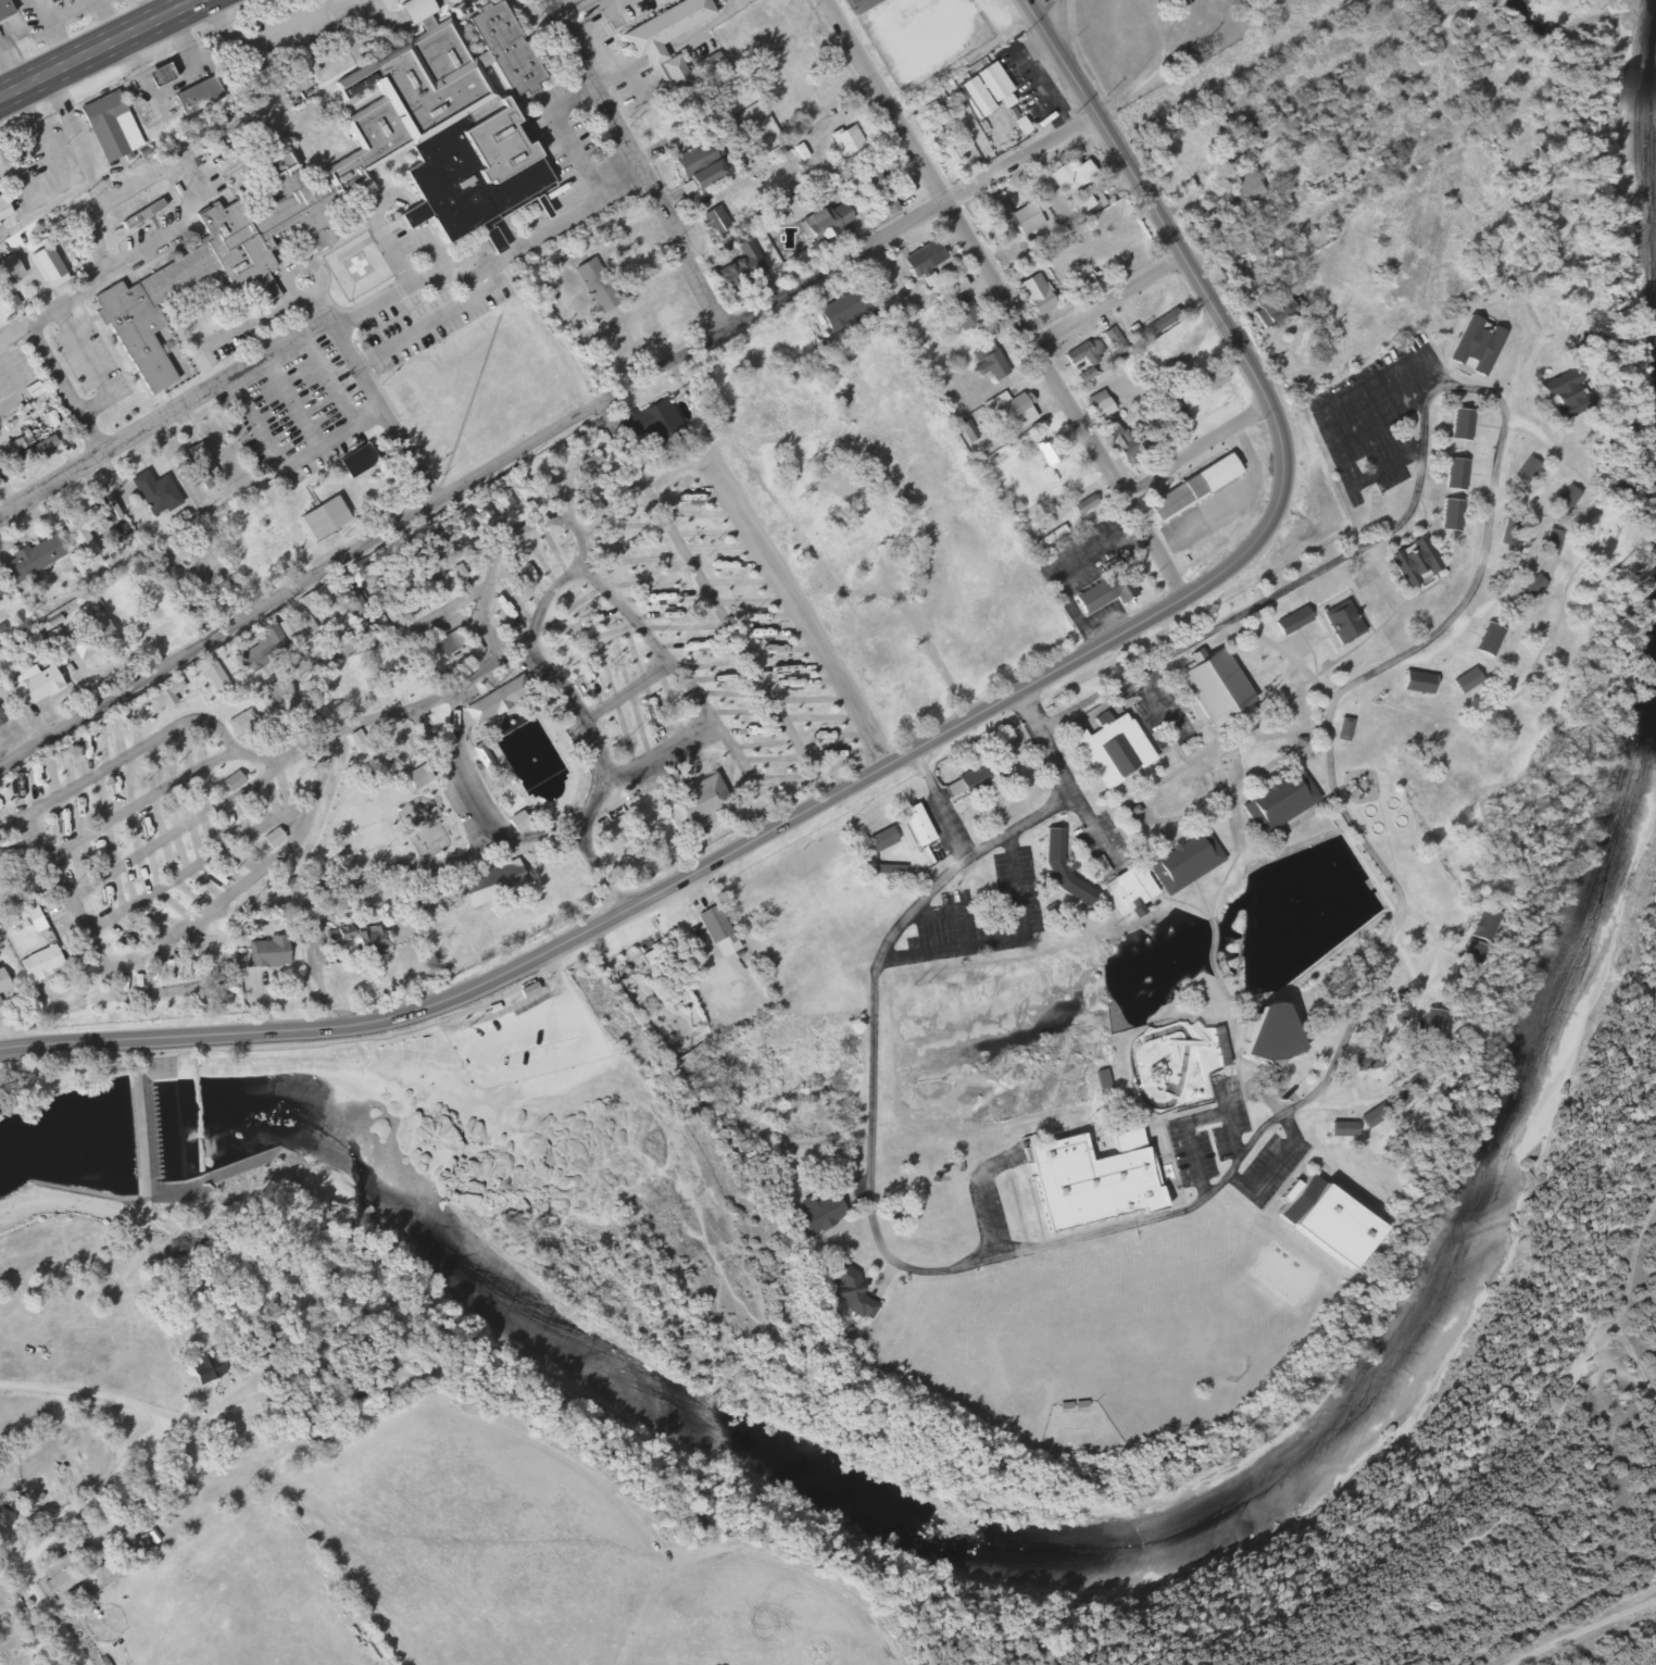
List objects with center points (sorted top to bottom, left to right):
building: (42, 0)
building: (851, 4)
road: (1031, 8)
road: (1043, 8)
building: (2, 9)
road: (572, 11)
road: (266, 37)
building: (663, 37)
road: (102, 53)
building: (193, 96)
building: (971, 97)
building: (657, 121)
building: (109, 126)
building: (844, 140)
building: (942, 146)
building: (692, 161)
road: (87, 162)
road: (636, 163)
building: (1067, 176)
building: (356, 177)
building: (1242, 187)
building: (878, 190)
building: (1076, 202)
road: (48, 210)
building: (1023, 220)
building: (712, 221)
building: (823, 221)
building: (737, 258)
building: (921, 259)
road: (491, 263)
helipad: (356, 265)
building: (8, 271)
building: (951, 285)
building: (1033, 295)
road: (1002, 299)
road: (1109, 302)
building: (1270, 311)
building: (1158, 323)
building: (602, 346)
building: (1473, 347)
building: (1078, 353)
building: (986, 362)
building: (1197, 388)
road: (610, 397)
building: (1094, 405)
road: (382, 410)
building: (1011, 410)
road: (164, 417)
building: (1458, 425)
building: (654, 426)
building: (1119, 443)
building: (30, 450)
road: (1195, 453)
building: (355, 462)
building: (1453, 474)
building: (592, 481)
building: (1189, 489)
building: (520, 490)
building: (153, 495)
building: (1561, 499)
building: (502, 502)
building: (484, 514)
building: (1448, 515)
building: (464, 525)
building: (322, 526)
building: (88, 529)
building: (252, 561)
building: (1414, 566)
road: (1473, 576)
building: (1103, 592)
road: (714, 601)
building: (1291, 621)
building: (1340, 623)
building: (89, 637)
building: (271, 638)
building: (447, 642)
building: (214, 678)
building: (1415, 681)
building: (1464, 681)
building: (1212, 686)
building: (30, 688)
building: (163, 697)
building: (494, 700)
road: (1152, 701)
building: (0, 722)
building: (239, 723)
building: (1342, 729)
road: (920, 746)
building: (1109, 751)
building: (478, 755)
building: (417, 777)
building: (973, 779)
building: (1278, 802)
building: (913, 826)
road: (1020, 827)
road: (572, 834)
building: (879, 840)
building: (1183, 863)
building: (889, 871)
building: (1059, 872)
building: (489, 885)
building: (1126, 891)
building: (1478, 926)
building: (715, 931)
building: (265, 953)
building: (41, 963)
road: (551, 977)
building: (2, 985)
building: (1265, 1032)
road: (272, 1050)
building: (1177, 1073)
building: (1342, 1129)
park: (587, 1179)
building: (1088, 1181)
road: (865, 1198)
road: (73, 1203)
building: (813, 1215)
building: (1320, 1219)
building: (846, 1290)
building: (204, 1366)
road: (272, 1380)
road: (143, 1434)
building: (95, 1514)
road: (13, 1560)
building: (59, 1574)
road: (1577, 1628)

